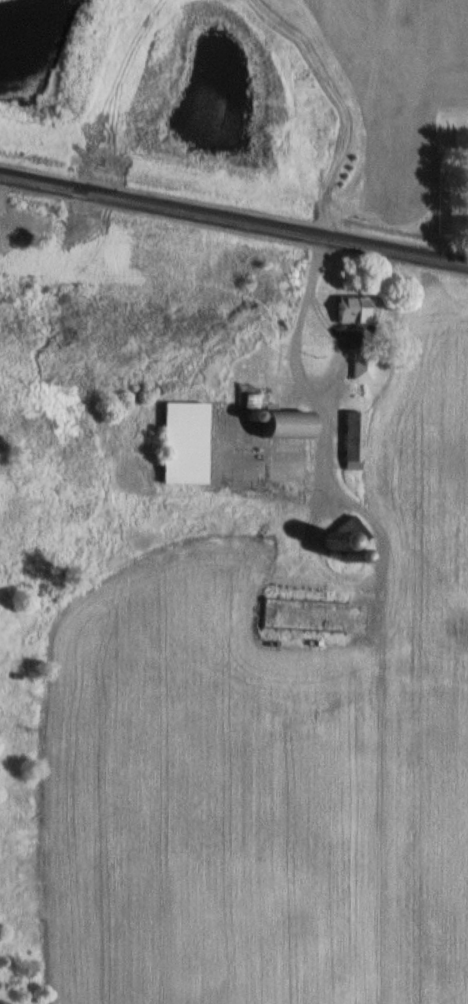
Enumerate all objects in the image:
building: (463, 180)
road: (234, 217)
building: (349, 310)
building: (360, 366)
road: (313, 397)
building: (277, 425)
building: (350, 441)
building: (177, 443)

